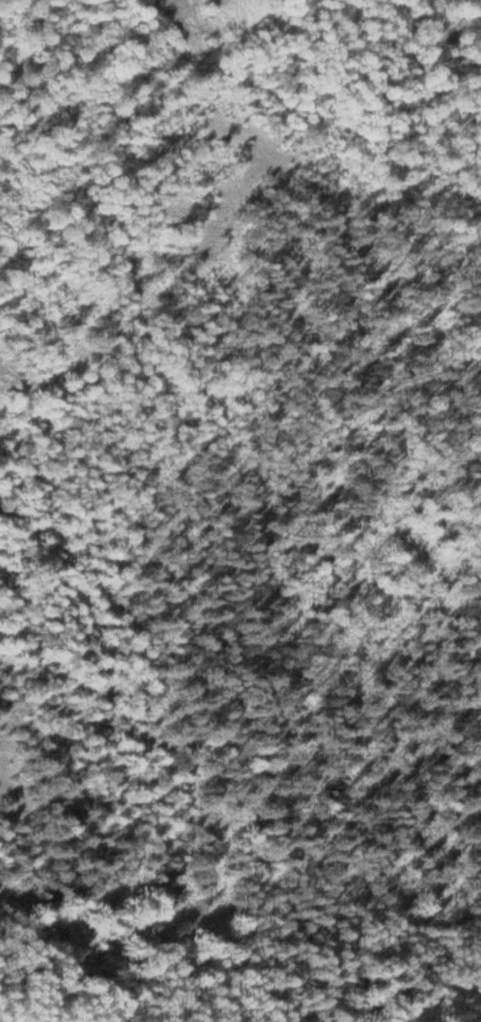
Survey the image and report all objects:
road: (434, 140)

